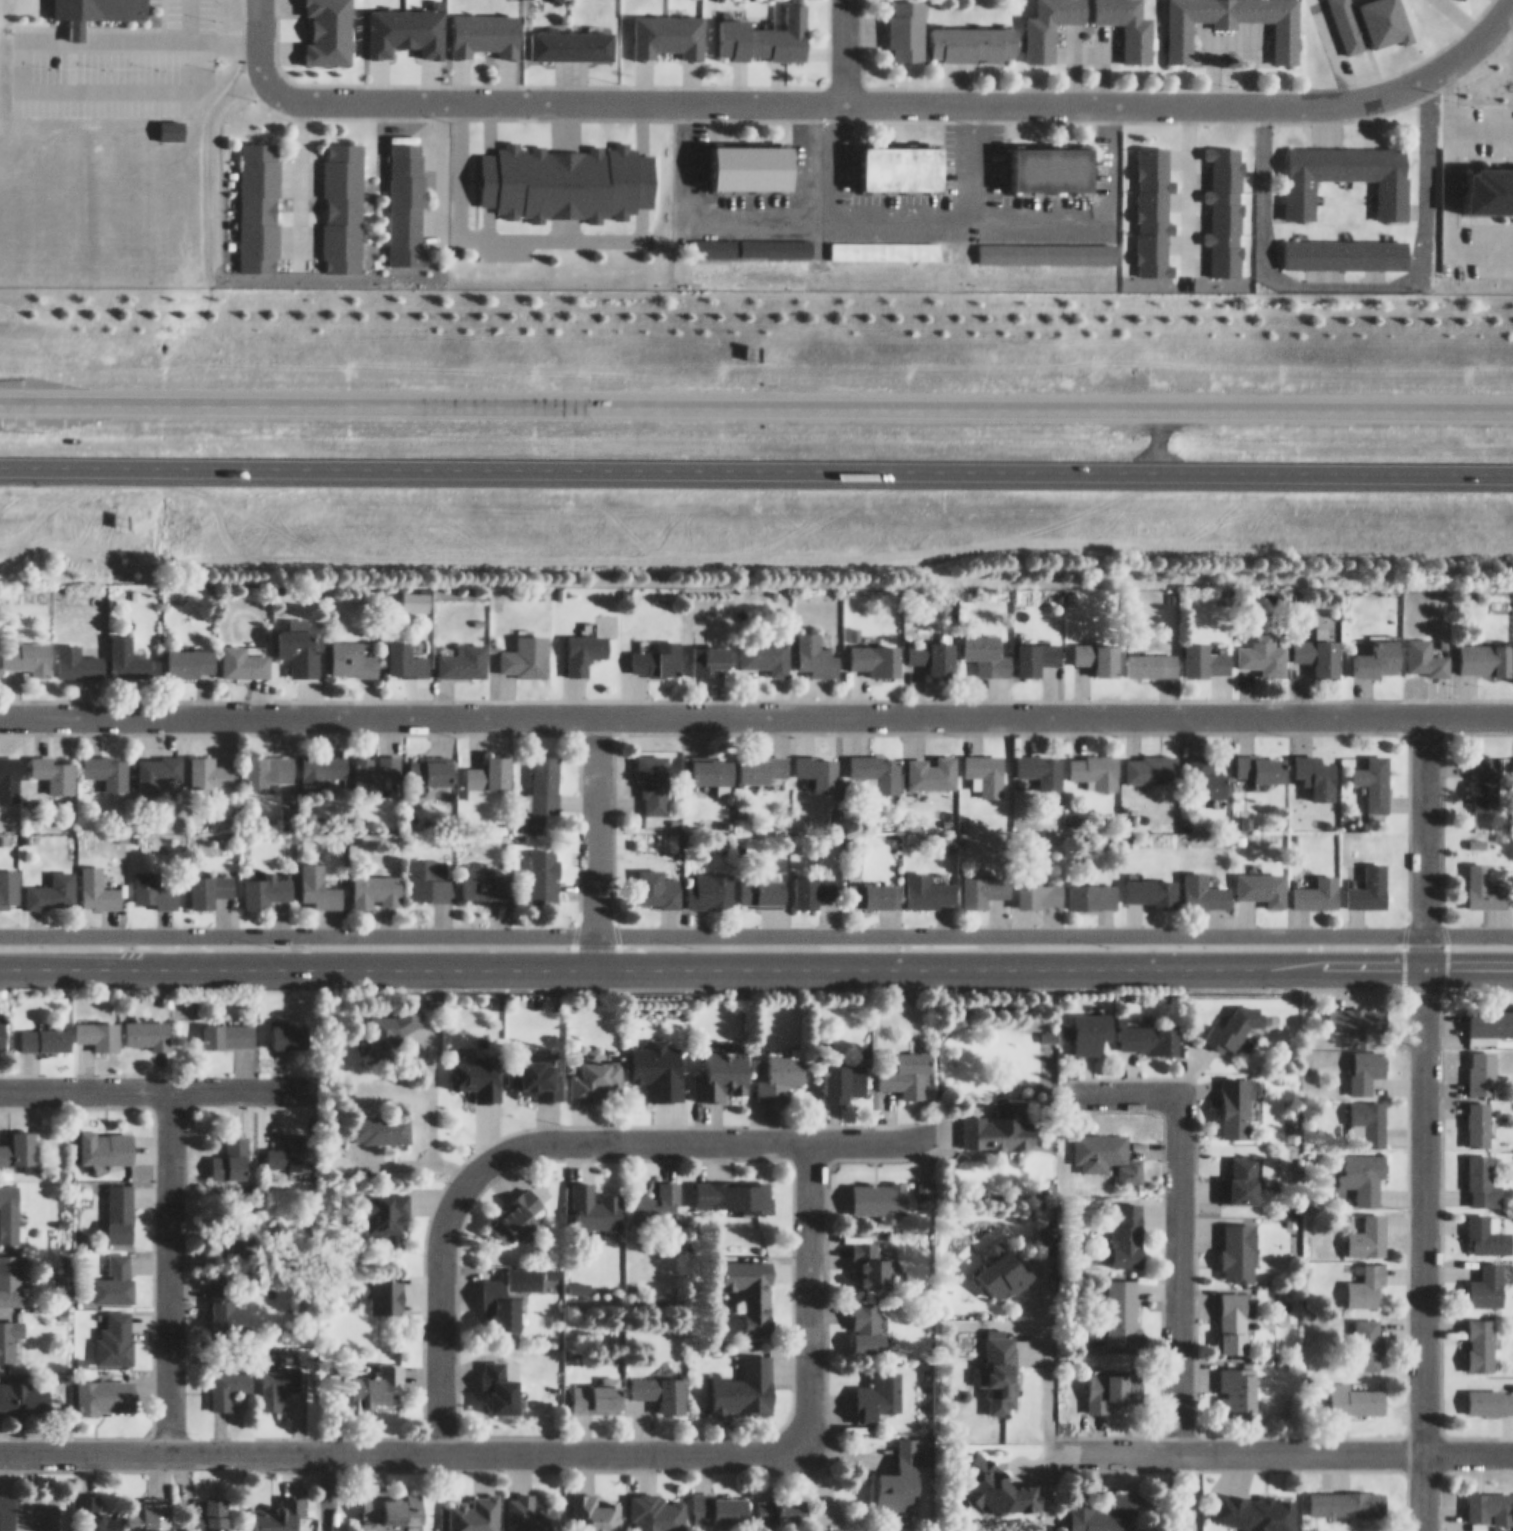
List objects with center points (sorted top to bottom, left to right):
building: (93, 8)
road: (185, 16)
building: (1368, 19)
building: (402, 21)
building: (1042, 23)
building: (1126, 23)
building: (481, 24)
building: (903, 25)
building: (665, 26)
building: (329, 27)
building: (760, 27)
road: (221, 33)
building: (969, 33)
building: (568, 36)
building: (1286, 36)
road: (842, 46)
road: (257, 50)
parking lot: (110, 56)
road: (1424, 67)
road: (24, 81)
road: (803, 92)
road: (819, 152)
road: (971, 153)
building: (745, 157)
building: (896, 159)
building: (1047, 160)
building: (1342, 168)
building: (565, 171)
building: (405, 193)
building: (257, 196)
building: (341, 196)
building: (1222, 202)
building: (1152, 203)
road: (895, 211)
building: (712, 237)
building: (774, 238)
building: (884, 241)
building: (1043, 244)
building: (1341, 245)
road: (1353, 276)
road: (756, 396)
road: (756, 459)
building: (414, 592)
building: (298, 641)
building: (584, 642)
building: (987, 645)
building: (1318, 645)
building: (816, 646)
building: (765, 647)
building: (934, 647)
building: (1098, 647)
building: (1262, 647)
building: (27, 648)
building: (655, 648)
building: (1034, 648)
building: (710, 649)
building: (1425, 649)
building: (126, 650)
building: (352, 650)
building: (404, 650)
building: (874, 650)
building: (1380, 650)
building: (1486, 650)
building: (244, 651)
building: (1205, 651)
building: (463, 652)
building: (76, 653)
building: (190, 653)
building: (523, 653)
building: (1151, 655)
road: (756, 707)
building: (1262, 758)
building: (711, 760)
building: (763, 760)
building: (1151, 760)
building: (106, 761)
building: (155, 761)
building: (267, 761)
building: (319, 761)
building: (818, 761)
building: (1040, 761)
building: (374, 762)
building: (430, 762)
building: (875, 762)
building: (1094, 762)
building: (210, 763)
building: (932, 763)
building: (53, 764)
building: (985, 764)
building: (1317, 766)
building: (487, 767)
building: (9, 769)
building: (1205, 769)
building: (1374, 771)
building: (1483, 772)
building: (544, 774)
building: (653, 774)
road: (594, 832)
road: (1423, 832)
building: (544, 867)
building: (428, 872)
building: (483, 876)
building: (319, 878)
building: (1263, 878)
building: (1483, 878)
building: (8, 879)
building: (1368, 879)
building: (97, 880)
building: (209, 880)
building: (656, 880)
building: (984, 880)
building: (814, 881)
building: (929, 881)
building: (52, 882)
building: (152, 882)
building: (376, 882)
building: (711, 882)
building: (1038, 882)
building: (1152, 882)
building: (1203, 882)
building: (265, 883)
building: (1316, 883)
building: (761, 884)
building: (873, 885)
building: (1092, 885)
road: (756, 925)
road: (756, 958)
building: (1356, 1010)
building: (1489, 1016)
building: (1236, 1017)
building: (1092, 1023)
building: (2, 1024)
building: (147, 1024)
building: (98, 1025)
building: (228, 1026)
building: (289, 1026)
building: (45, 1030)
building: (1149, 1030)
building: (1366, 1061)
building: (1481, 1063)
building: (477, 1066)
building: (721, 1066)
building: (907, 1066)
building: (534, 1067)
building: (595, 1068)
building: (780, 1068)
building: (842, 1072)
road: (150, 1082)
building: (1236, 1098)
building: (1367, 1114)
building: (1478, 1115)
building: (381, 1120)
building: (999, 1120)
road: (674, 1133)
building: (106, 1137)
building: (18, 1139)
building: (291, 1145)
building: (1106, 1147)
building: (230, 1150)
building: (1363, 1168)
building: (1241, 1172)
building: (1482, 1173)
building: (733, 1186)
building: (879, 1191)
building: (658, 1196)
building: (595, 1198)
building: (9, 1203)
building: (383, 1203)
building: (118, 1204)
building: (517, 1209)
road: (1178, 1211)
building: (1488, 1226)
building: (1128, 1227)
building: (236, 1228)
building: (1368, 1228)
building: (1238, 1243)
road: (1422, 1244)
building: (870, 1254)
building: (1002, 1262)
road: (169, 1264)
building: (115, 1270)
road: (807, 1270)
building: (10, 1274)
building: (1486, 1277)
building: (1367, 1278)
building: (752, 1284)
building: (501, 1296)
building: (226, 1298)
building: (1123, 1305)
road: (438, 1308)
building: (1234, 1313)
building: (867, 1320)
building: (9, 1329)
building: (115, 1329)
building: (1369, 1335)
building: (1480, 1335)
building: (999, 1363)
building: (277, 1375)
building: (745, 1377)
building: (228, 1378)
building: (500, 1379)
building: (1238, 1379)
building: (379, 1380)
building: (1112, 1380)
building: (661, 1383)
building: (24, 1387)
building: (877, 1387)
building: (105, 1388)
building: (597, 1389)
building: (1354, 1390)
building: (1490, 1392)
road: (1280, 1445)
road: (415, 1446)
building: (900, 1469)
road: (324, 1488)
building: (1347, 1494)
building: (393, 1499)
building: (1489, 1499)
building: (719, 1500)
building: (782, 1503)
building: (27, 1505)
building: (1258, 1505)
building: (1102, 1506)
building: (656, 1507)
building: (594, 1508)
building: (149, 1509)
building: (95, 1510)
building: (279, 1510)
building: (472, 1510)
building: (528, 1510)
building: (210, 1512)
building: (856, 1528)
building: (1367, 1529)
building: (1488, 1529)

